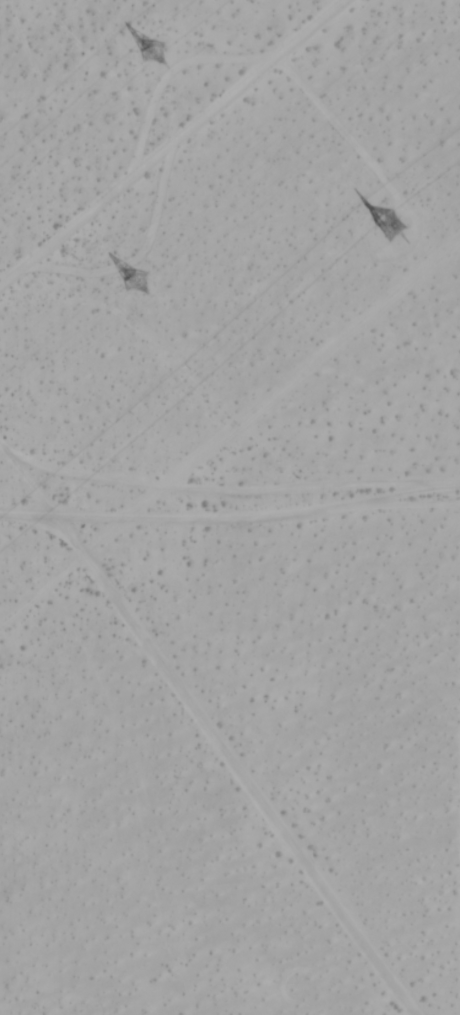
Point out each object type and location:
power tower: (149, 51)
road: (168, 140)
power tower: (399, 218)
power tower: (145, 271)
road: (229, 513)
road: (207, 732)

